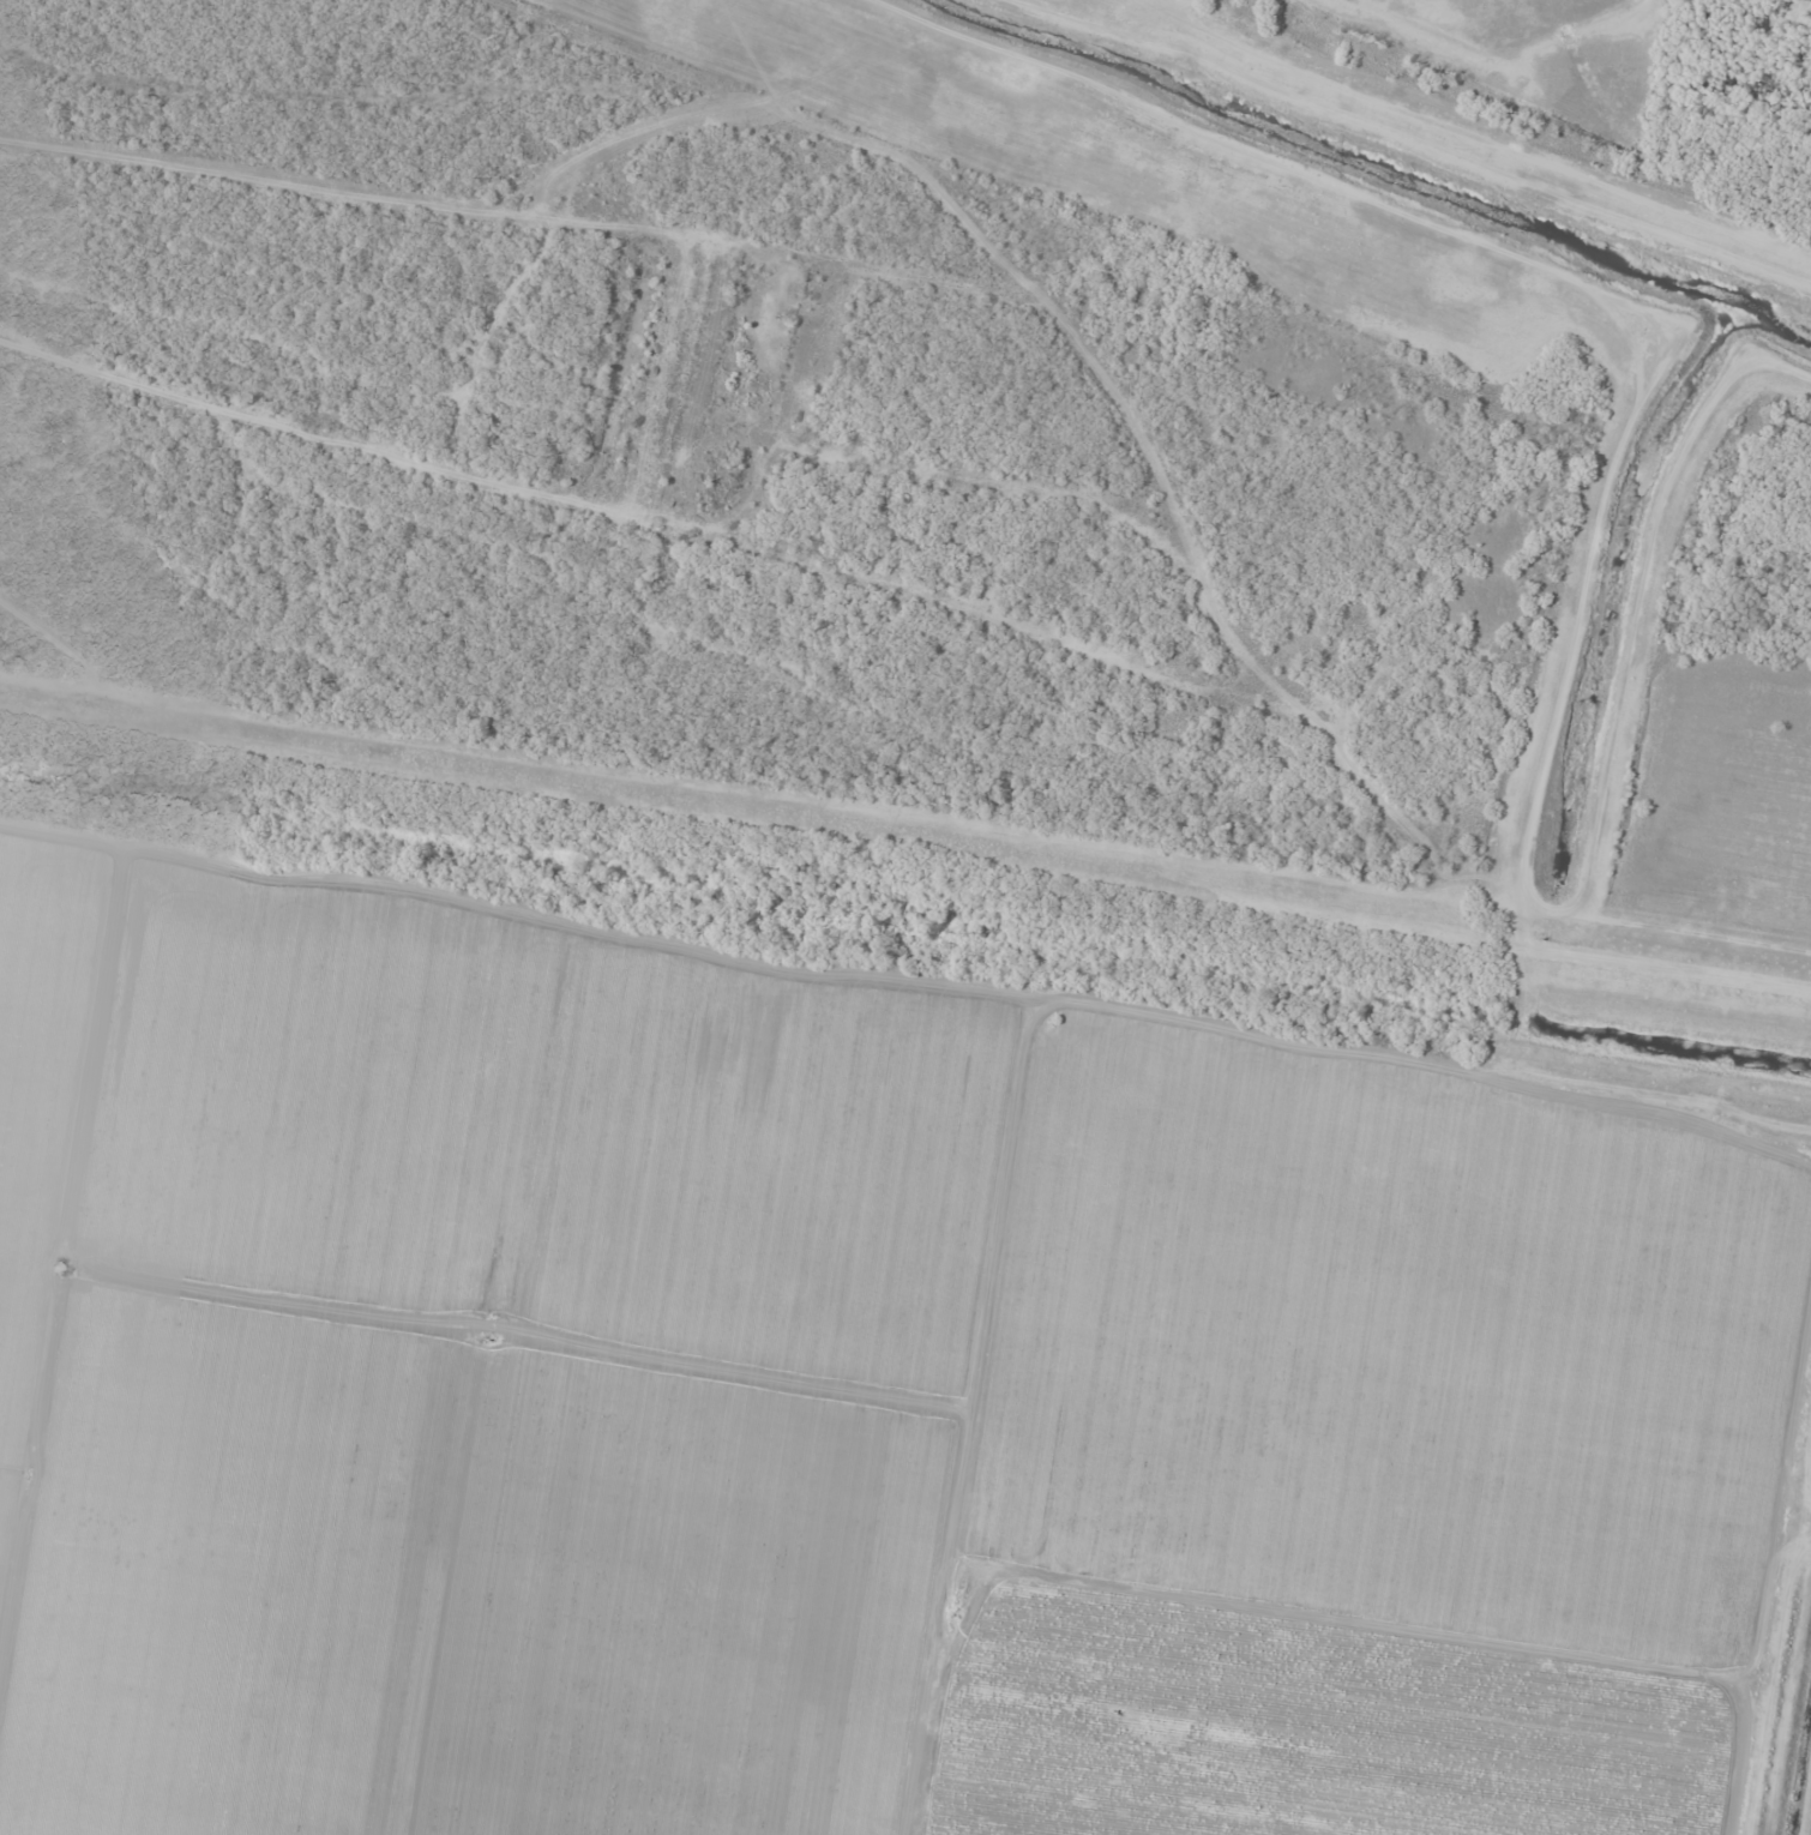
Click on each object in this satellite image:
river: (1354, 154)
river: (1785, 315)

